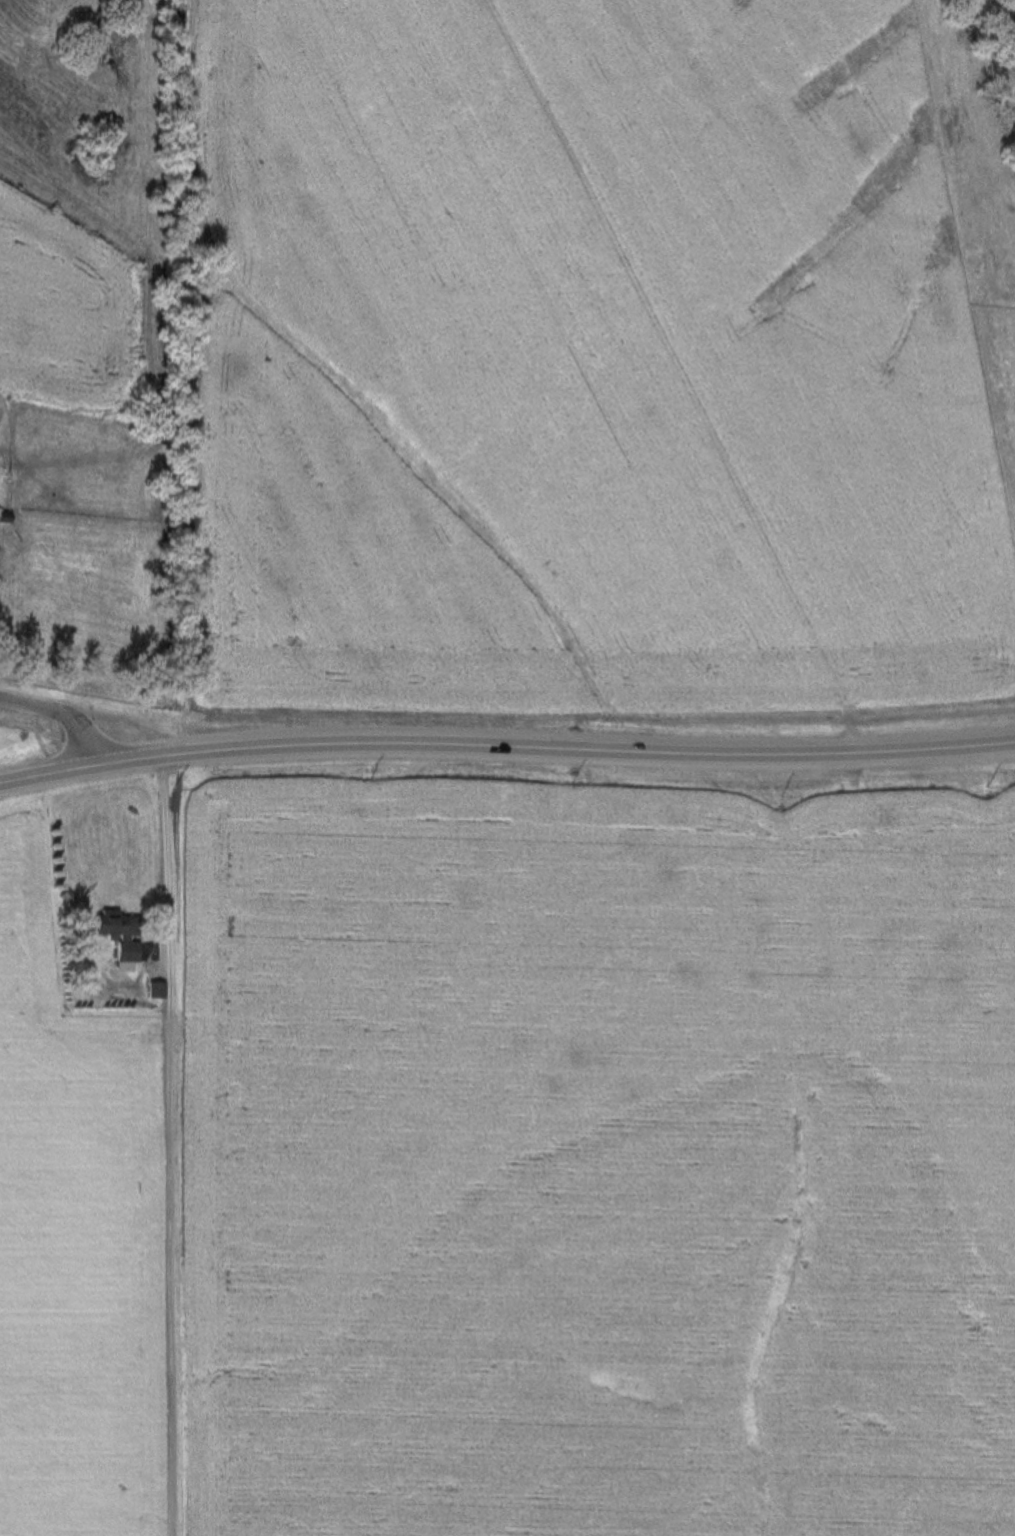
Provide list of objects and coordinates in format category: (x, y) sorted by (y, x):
road: (622, 369)
building: (4, 518)
road: (61, 717)
road: (163, 722)
road: (506, 745)
building: (117, 935)
building: (158, 990)
road: (171, 1147)

